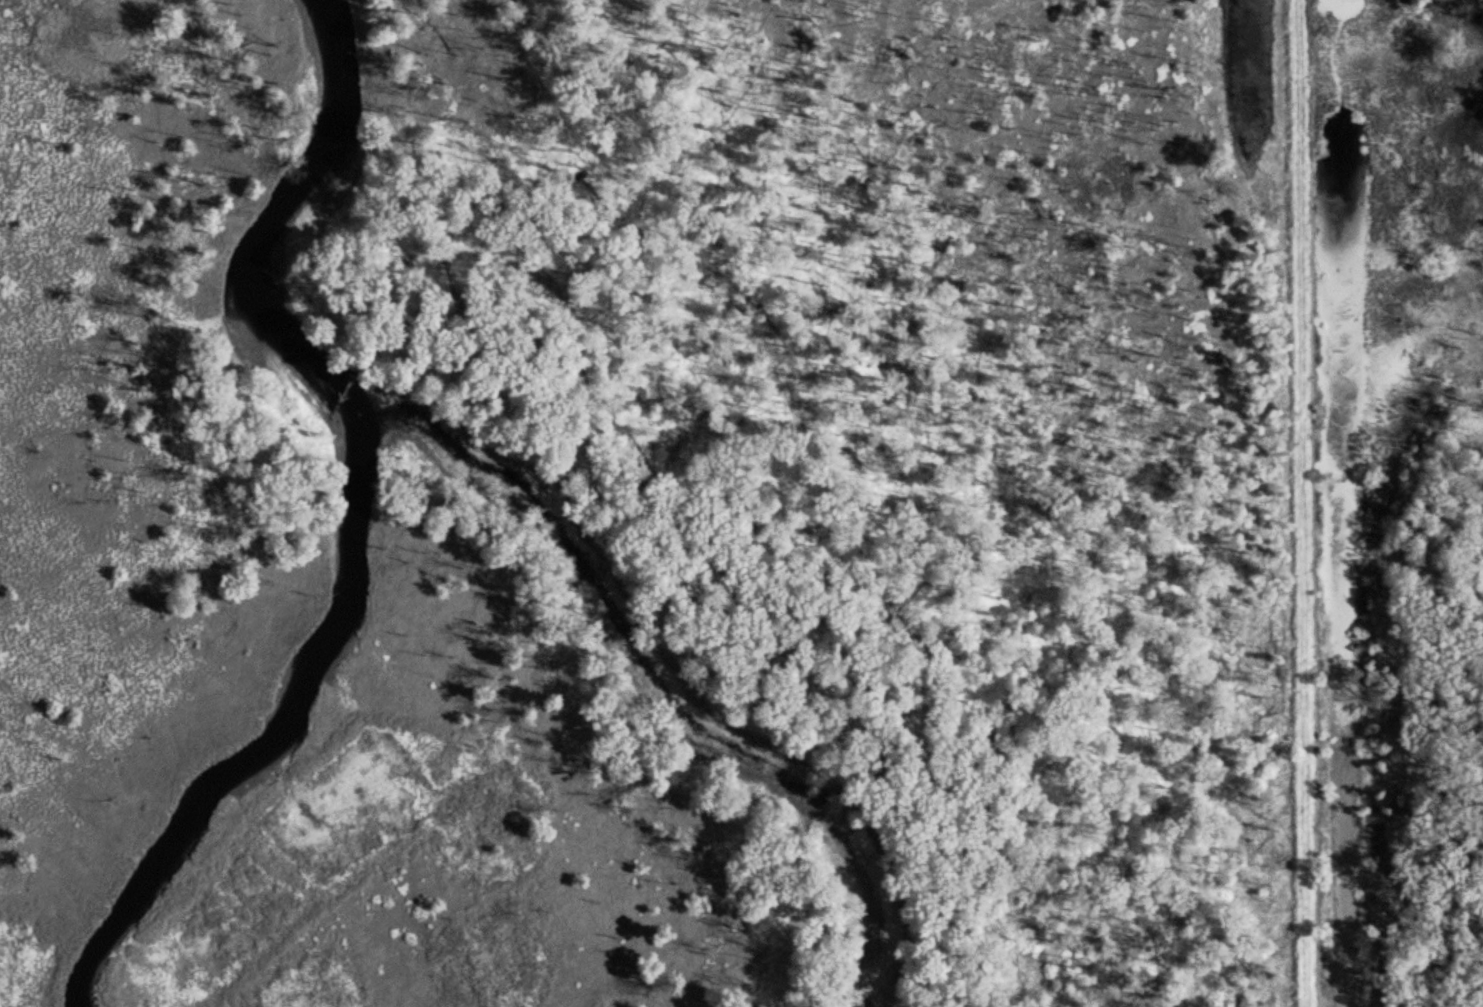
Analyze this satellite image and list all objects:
road: (1291, 503)

